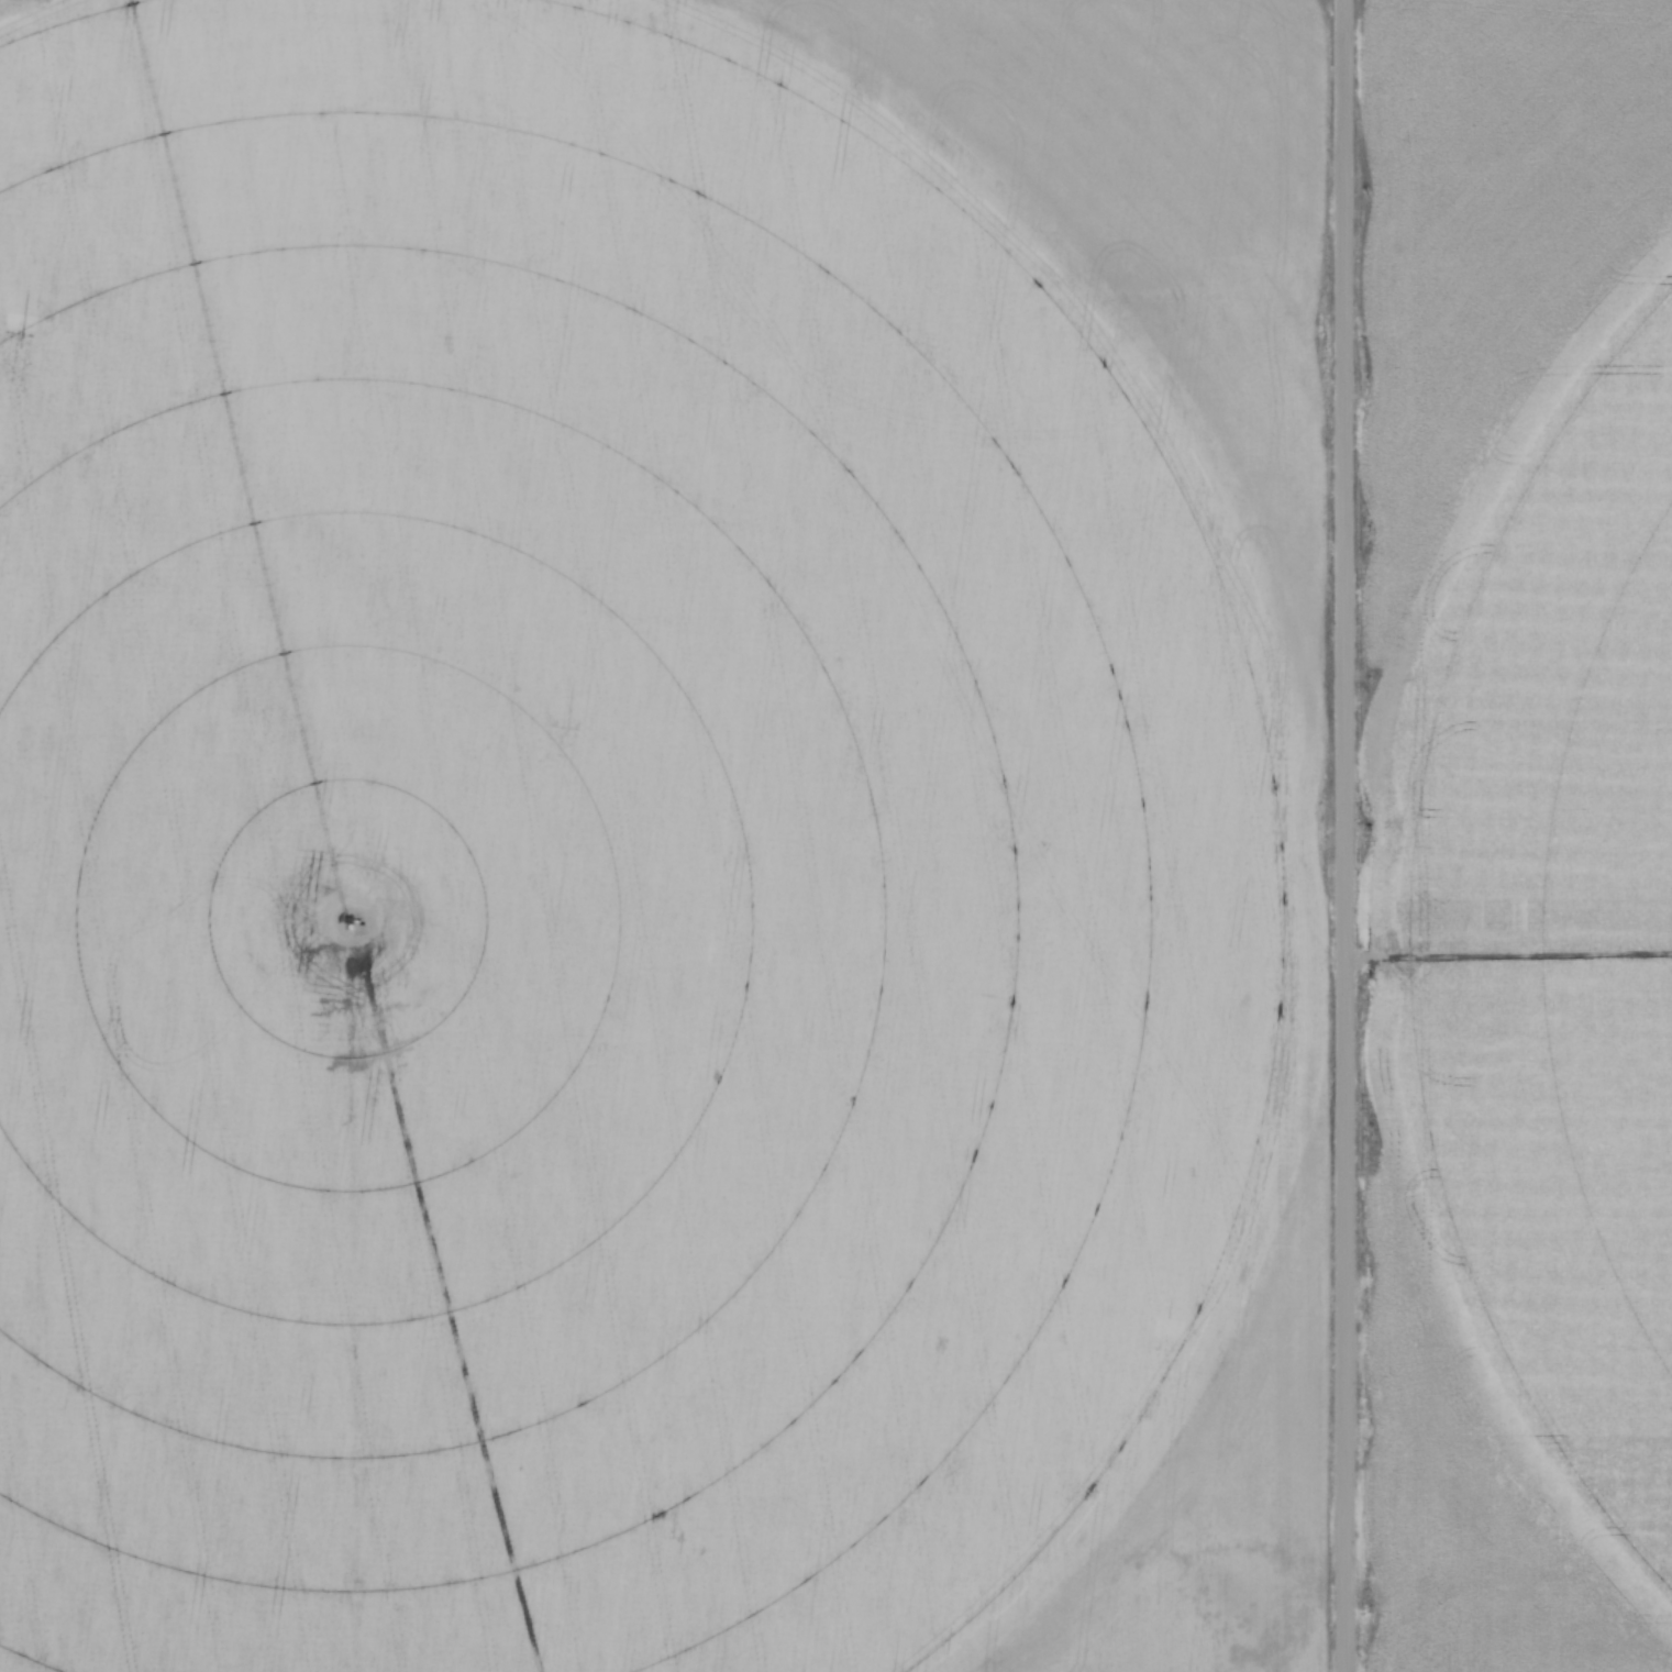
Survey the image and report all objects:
crop: (1520, 831)
crop: (664, 835)
road: (1342, 835)

